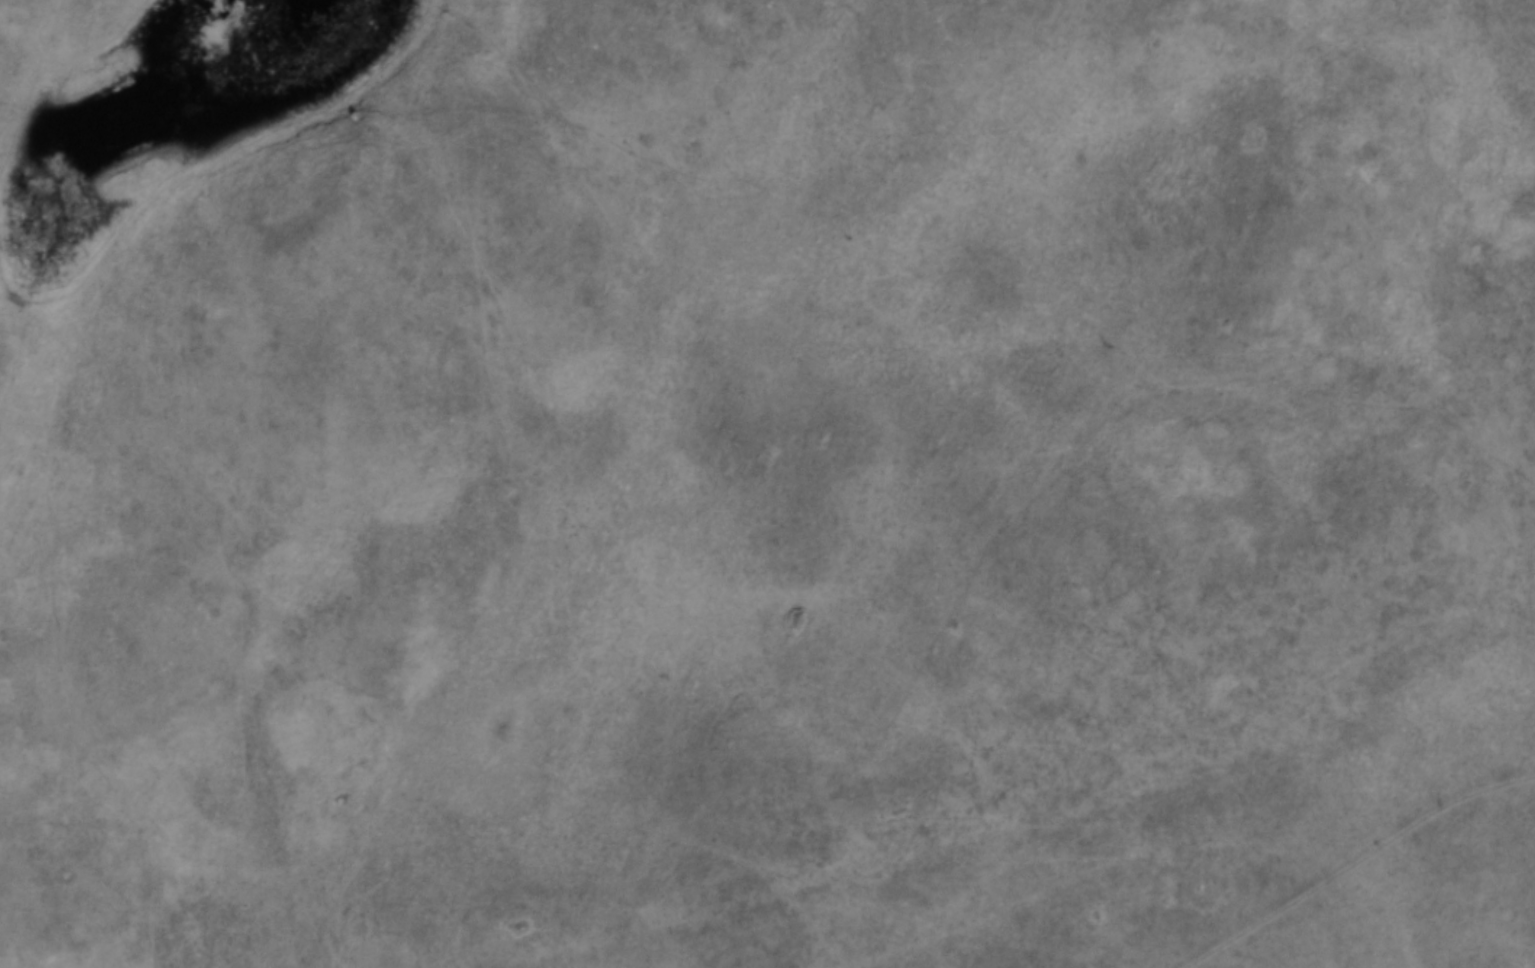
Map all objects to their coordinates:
road: (1347, 857)

